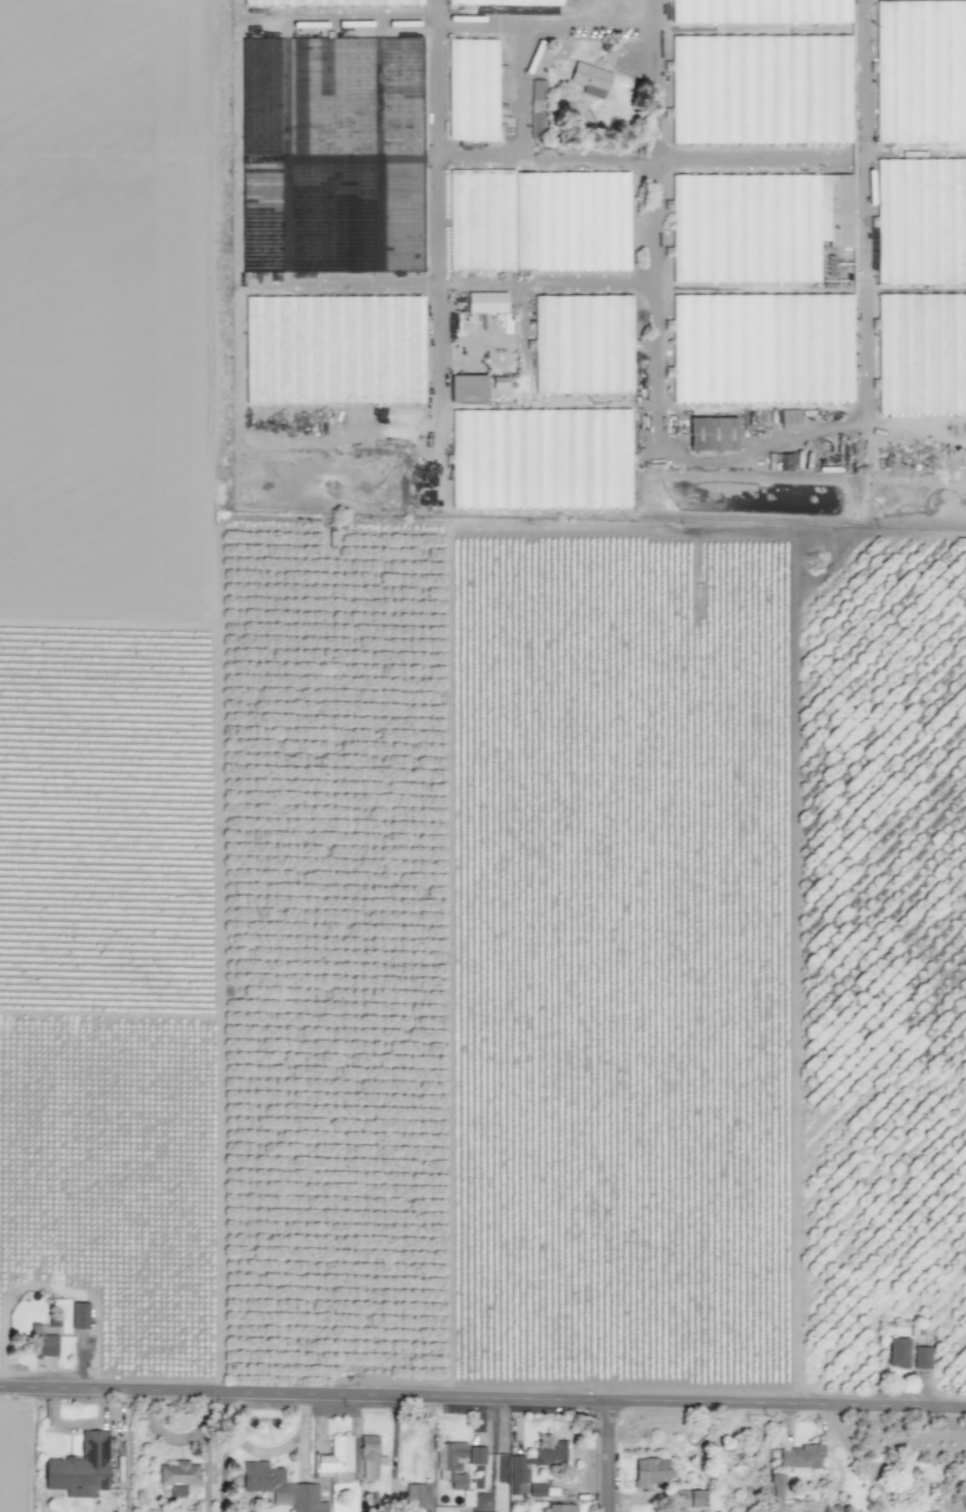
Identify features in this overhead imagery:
building: (333, 2)
building: (504, 2)
building: (764, 10)
road: (542, 25)
building: (922, 67)
building: (590, 79)
building: (767, 85)
building: (479, 87)
building: (542, 105)
road: (914, 148)
road: (544, 160)
road: (757, 160)
road: (436, 200)
building: (545, 218)
building: (923, 219)
building: (771, 223)
building: (489, 305)
building: (590, 343)
building: (338, 345)
building: (767, 347)
building: (924, 353)
building: (499, 382)
building: (472, 386)
building: (788, 419)
building: (718, 434)
road: (747, 451)
building: (548, 455)
building: (79, 1315)
building: (44, 1346)
building: (897, 1353)
building: (921, 1358)
road: (483, 1391)
road: (393, 1442)
road: (491, 1446)
road: (609, 1453)
road: (258, 1454)
building: (476, 1455)
building: (801, 1456)
building: (369, 1457)
building: (334, 1460)
building: (453, 1464)
building: (533, 1464)
building: (80, 1468)
building: (648, 1472)
building: (178, 1476)
building: (500, 1481)
building: (776, 1485)
building: (280, 1488)
building: (536, 1490)
building: (417, 1496)
building: (687, 1498)
building: (558, 1508)

